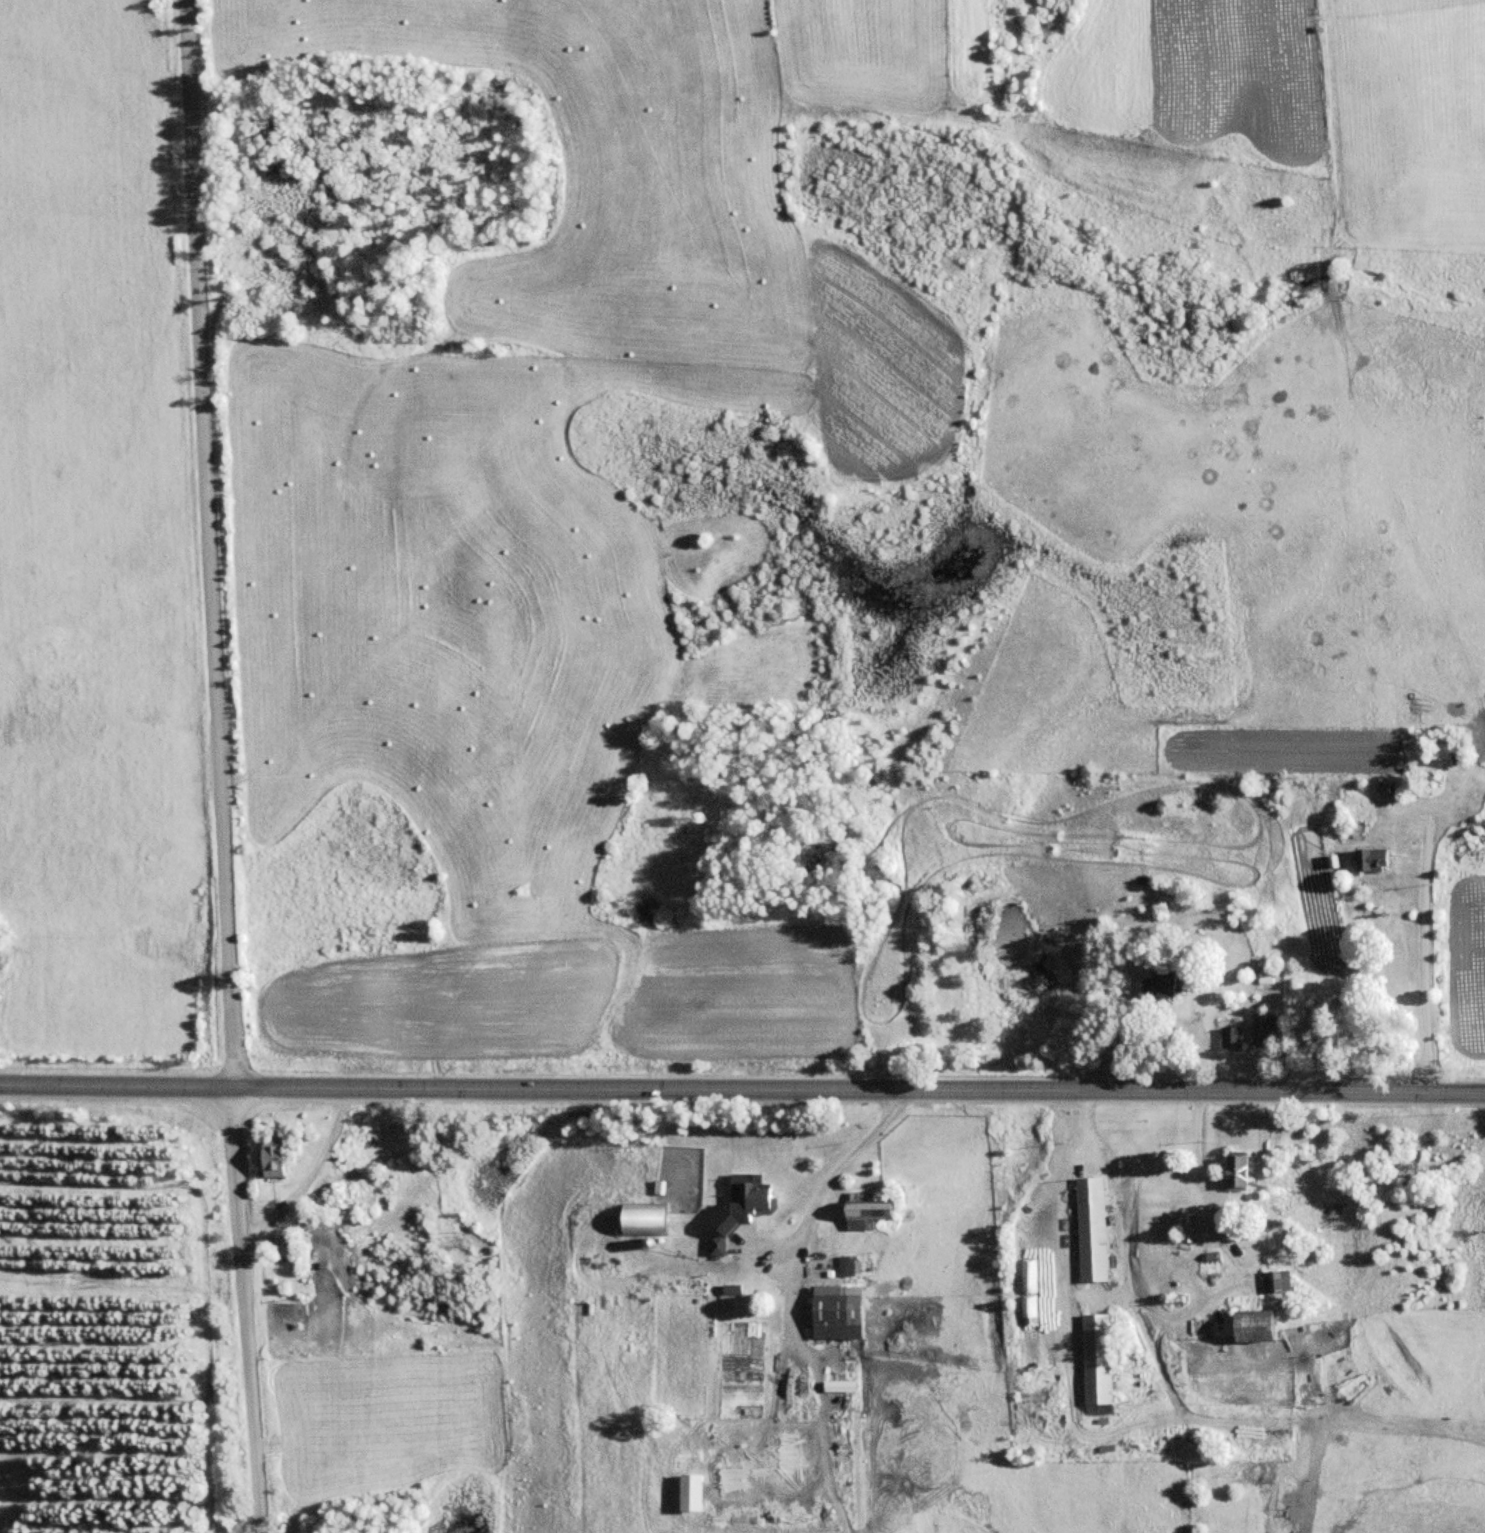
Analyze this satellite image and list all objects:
road: (221, 766)
building: (1370, 860)
building: (1010, 943)
building: (1164, 984)
building: (1269, 1028)
building: (1234, 1036)
road: (742, 1088)
building: (282, 1155)
building: (1243, 1169)
building: (763, 1196)
building: (877, 1211)
building: (652, 1218)
building: (1191, 1227)
building: (1095, 1228)
building: (723, 1244)
building: (1282, 1280)
building: (845, 1311)
building: (1269, 1322)
building: (1102, 1362)

